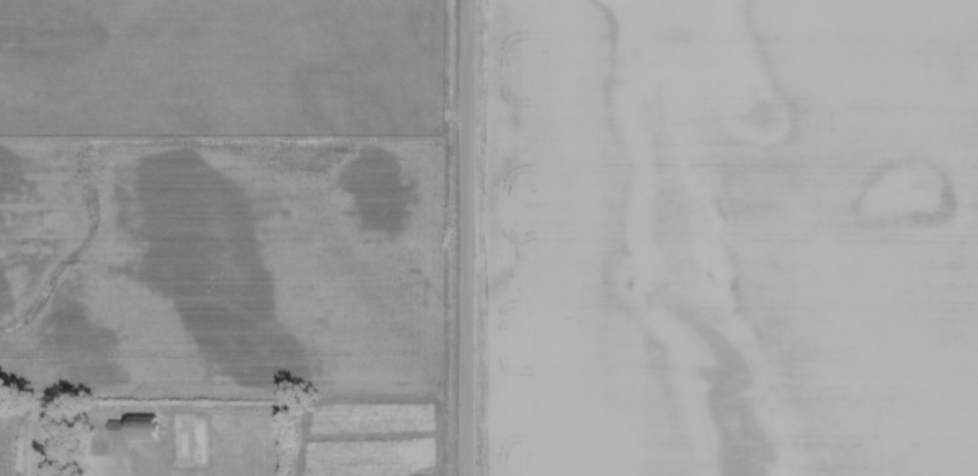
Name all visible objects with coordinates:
road: (472, 238)
building: (135, 428)

